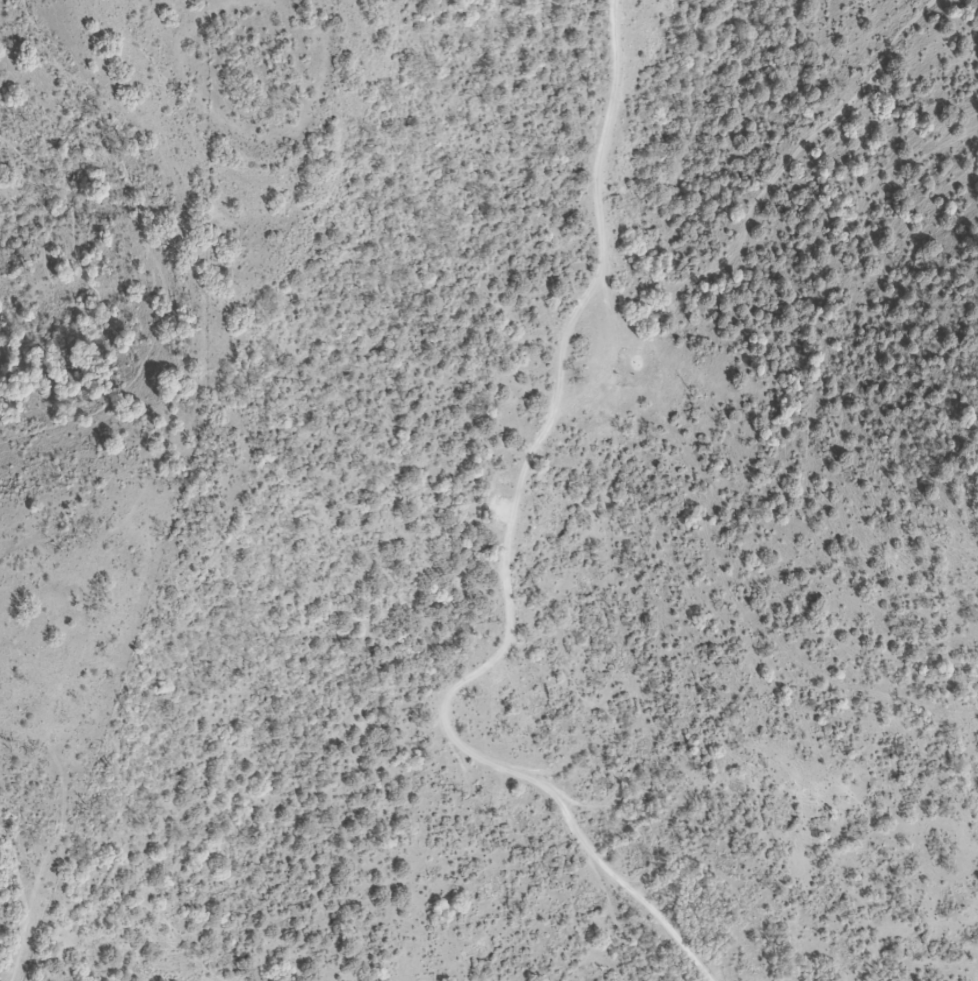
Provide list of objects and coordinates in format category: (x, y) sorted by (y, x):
road: (46, 240)
road: (146, 250)
road: (21, 888)
road: (41, 892)
road: (15, 967)

